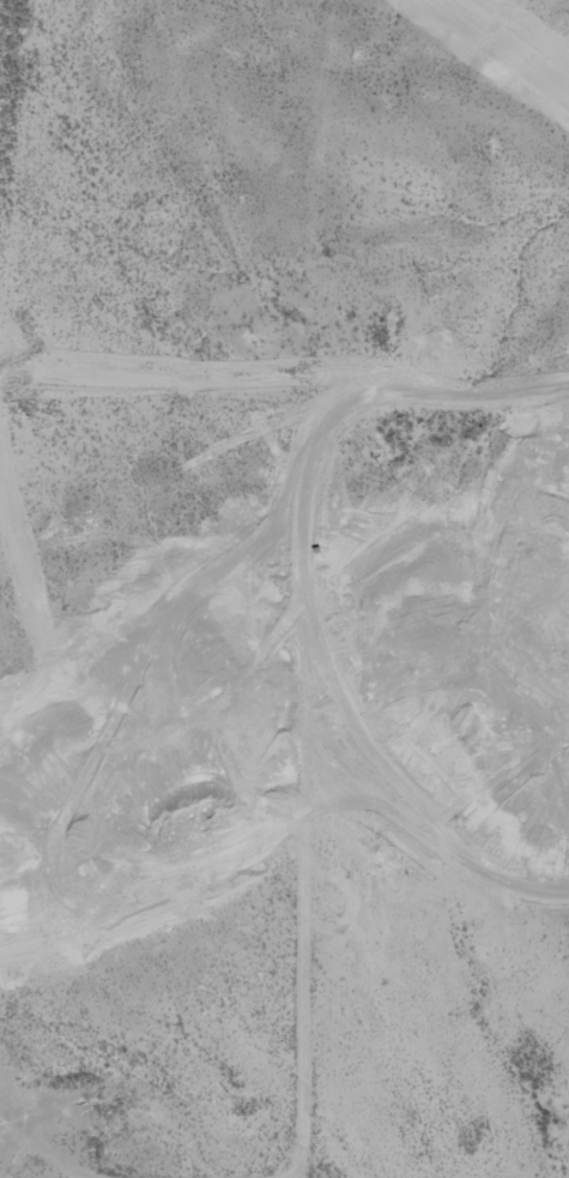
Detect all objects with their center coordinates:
road: (265, 662)

